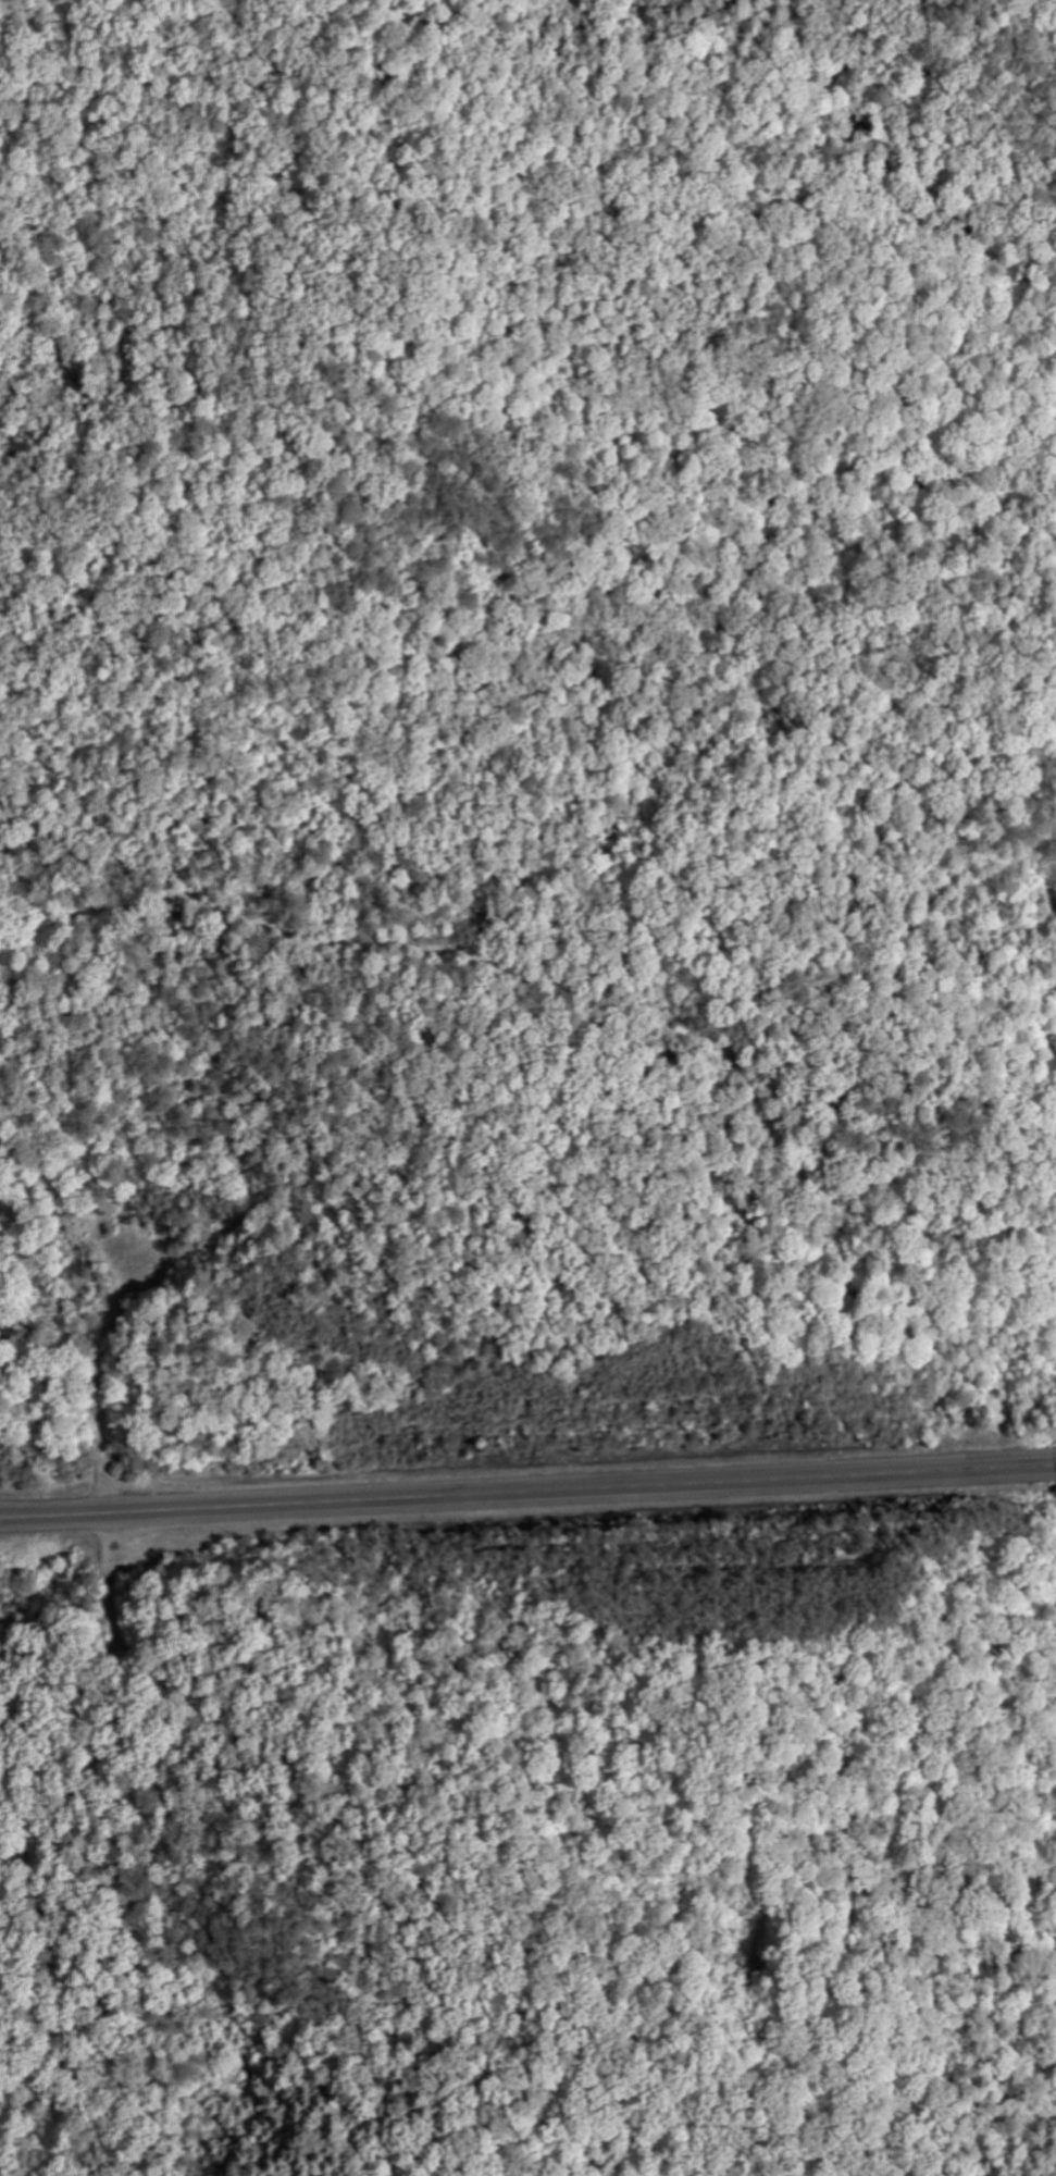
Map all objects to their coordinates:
road: (527, 1492)

